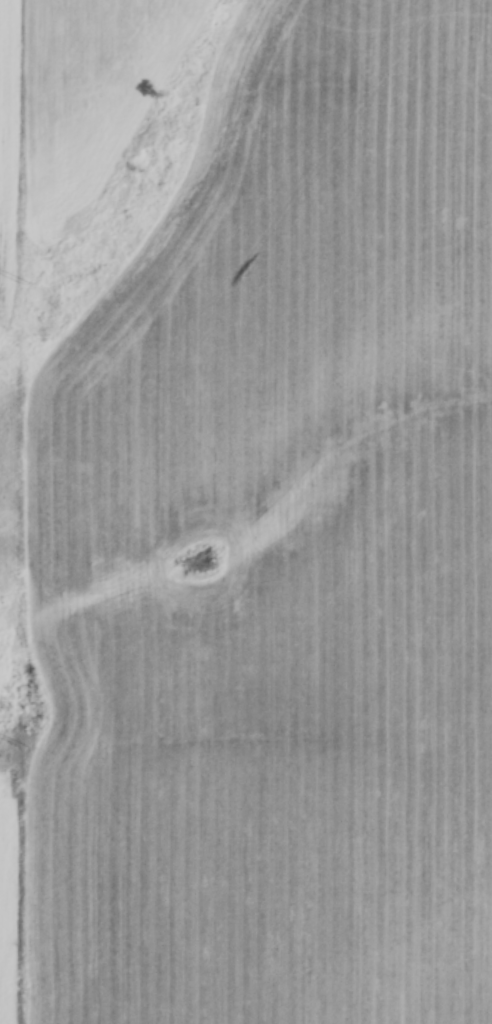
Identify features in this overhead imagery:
power tower: (22, 284)
power tower: (22, 748)

